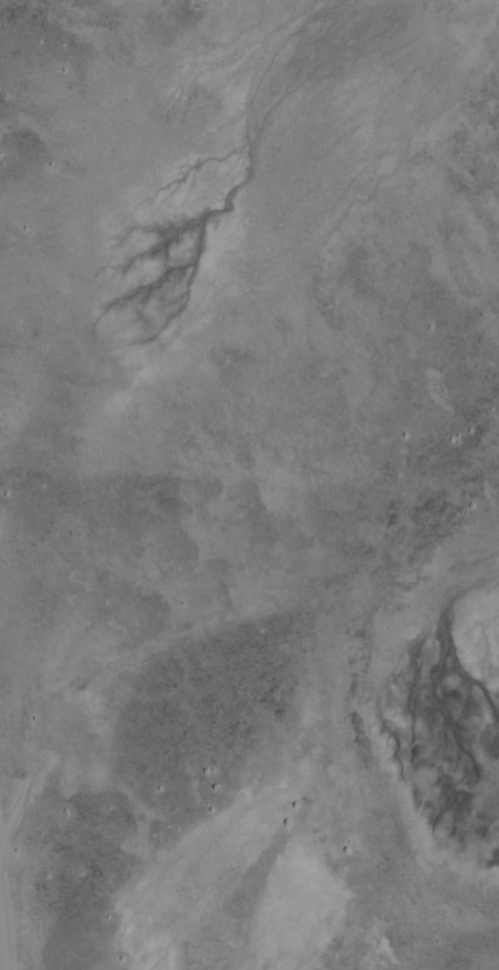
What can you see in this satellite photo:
road: (197, 744)
road: (26, 890)

